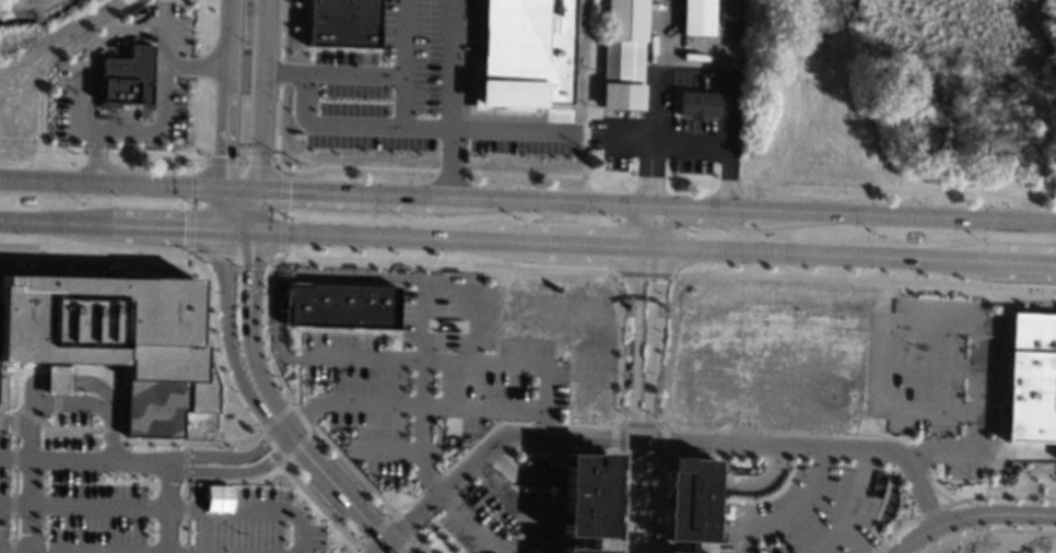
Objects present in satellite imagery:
building: (695, 17)
building: (341, 23)
road: (281, 30)
road: (164, 35)
building: (521, 54)
building: (622, 55)
road: (726, 58)
road: (78, 66)
road: (196, 66)
road: (279, 71)
road: (369, 74)
building: (126, 78)
parking lot: (174, 86)
parking lot: (411, 90)
road: (226, 93)
road: (450, 97)
road: (403, 101)
building: (696, 104)
road: (259, 115)
road: (416, 127)
road: (161, 129)
road: (627, 137)
road: (690, 139)
road: (95, 155)
traffic signals: (224, 155)
road: (240, 162)
road: (199, 166)
road: (649, 166)
road: (315, 167)
road: (448, 169)
road: (521, 173)
road: (110, 184)
traffic signals: (289, 190)
road: (644, 199)
road: (654, 199)
road: (638, 203)
road: (222, 208)
road: (281, 209)
road: (190, 211)
road: (54, 222)
road: (640, 224)
road: (658, 225)
road: (164, 226)
traffic signals: (183, 227)
road: (237, 228)
road: (367, 234)
road: (505, 238)
road: (584, 243)
road: (648, 245)
road: (96, 249)
road: (825, 252)
road: (234, 257)
road: (441, 261)
road: (1024, 261)
traffic signals: (251, 267)
road: (642, 273)
road: (300, 275)
road: (867, 280)
road: (201, 292)
building: (340, 305)
road: (249, 318)
road: (897, 320)
road: (469, 321)
road: (225, 322)
road: (266, 326)
road: (354, 330)
building: (114, 339)
road: (213, 343)
road: (618, 345)
road: (396, 346)
road: (667, 350)
road: (209, 352)
road: (295, 358)
road: (446, 363)
road: (926, 365)
road: (57, 369)
parking lot: (431, 370)
road: (420, 373)
parking lot: (936, 375)
building: (1030, 378)
building: (56, 379)
road: (56, 379)
road: (71, 381)
road: (295, 383)
road: (16, 386)
building: (1, 393)
road: (632, 399)
road: (647, 399)
road: (83, 403)
road: (55, 404)
road: (432, 407)
road: (1, 411)
road: (27, 413)
road: (273, 415)
road: (302, 415)
parking lot: (72, 419)
road: (55, 421)
road: (13, 422)
road: (542, 423)
road: (543, 423)
road: (588, 425)
building: (245, 426)
road: (66, 430)
road: (67, 430)
road: (109, 430)
road: (84, 431)
road: (308, 432)
road: (784, 433)
road: (436, 435)
road: (479, 437)
road: (13, 440)
road: (140, 440)
building: (320, 440)
road: (700, 442)
road: (49, 444)
road: (272, 445)
road: (385, 448)
road: (997, 449)
road: (923, 452)
road: (656, 455)
road: (12, 458)
road: (13, 458)
road: (917, 458)
road: (97, 459)
road: (185, 460)
road: (172, 464)
road: (353, 469)
road: (520, 474)
road: (28, 475)
road: (430, 479)
road: (328, 480)
road: (755, 480)
road: (12, 481)
road: (431, 482)
road: (184, 487)
road: (935, 490)
road: (998, 496)
building: (586, 498)
building: (685, 501)
road: (408, 503)
road: (613, 503)
road: (658, 503)
road: (11, 504)
road: (318, 505)
road: (165, 507)
road: (854, 507)
road: (167, 508)
road: (184, 508)
parking lot: (807, 509)
parking lot: (136, 510)
road: (928, 511)
road: (786, 513)
road: (411, 515)
road: (970, 515)
road: (387, 517)
parking lot: (500, 518)
road: (11, 527)
road: (987, 530)
road: (893, 531)
road: (183, 536)
road: (849, 541)
road: (419, 544)
road: (528, 544)
road: (634, 544)
road: (11, 545)
road: (377, 546)
road: (13, 550)
road: (75, 551)
road: (871, 551)
building: (660, 552)

